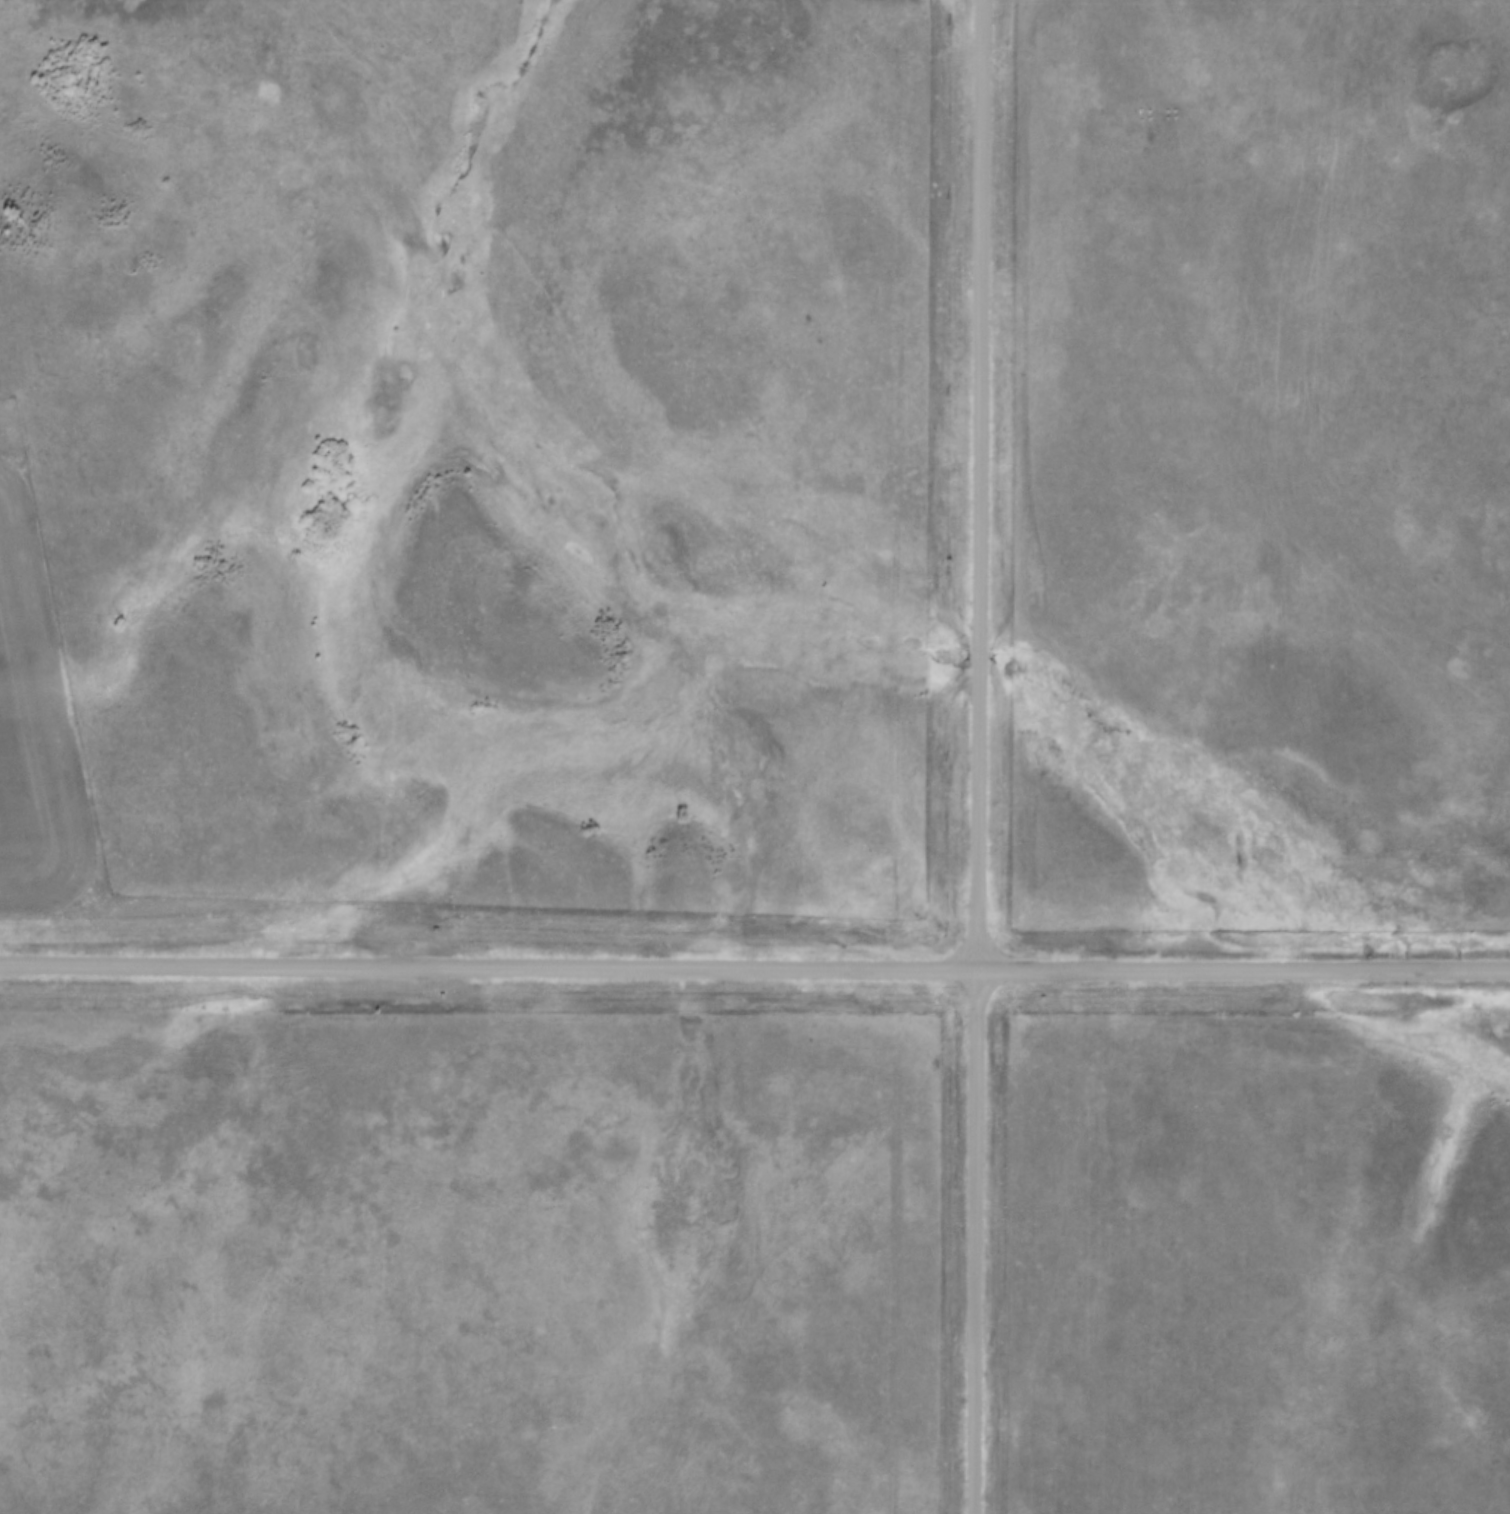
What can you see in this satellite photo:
road: (984, 757)
road: (754, 969)

